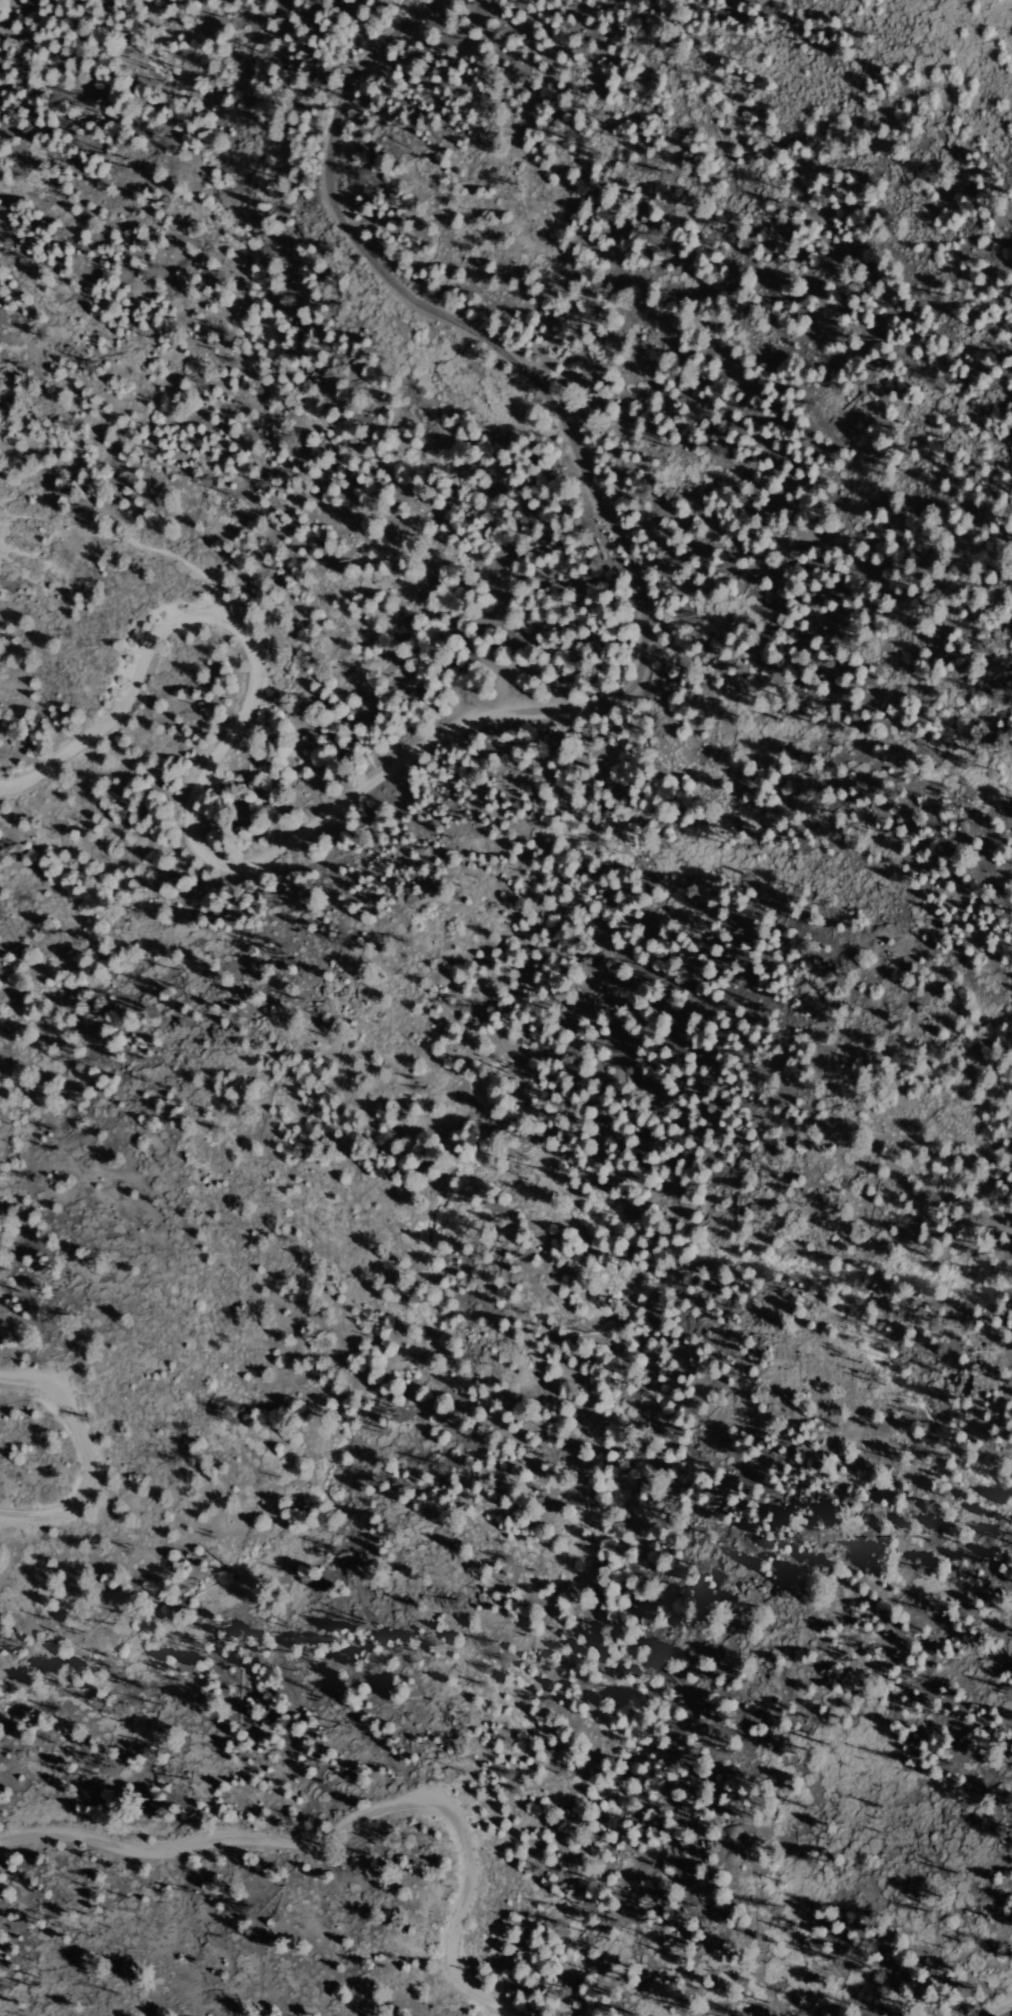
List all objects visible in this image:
quarry: (40, 554)
road: (538, 712)
road: (94, 1458)
road: (336, 1820)
road: (1000, 2008)

